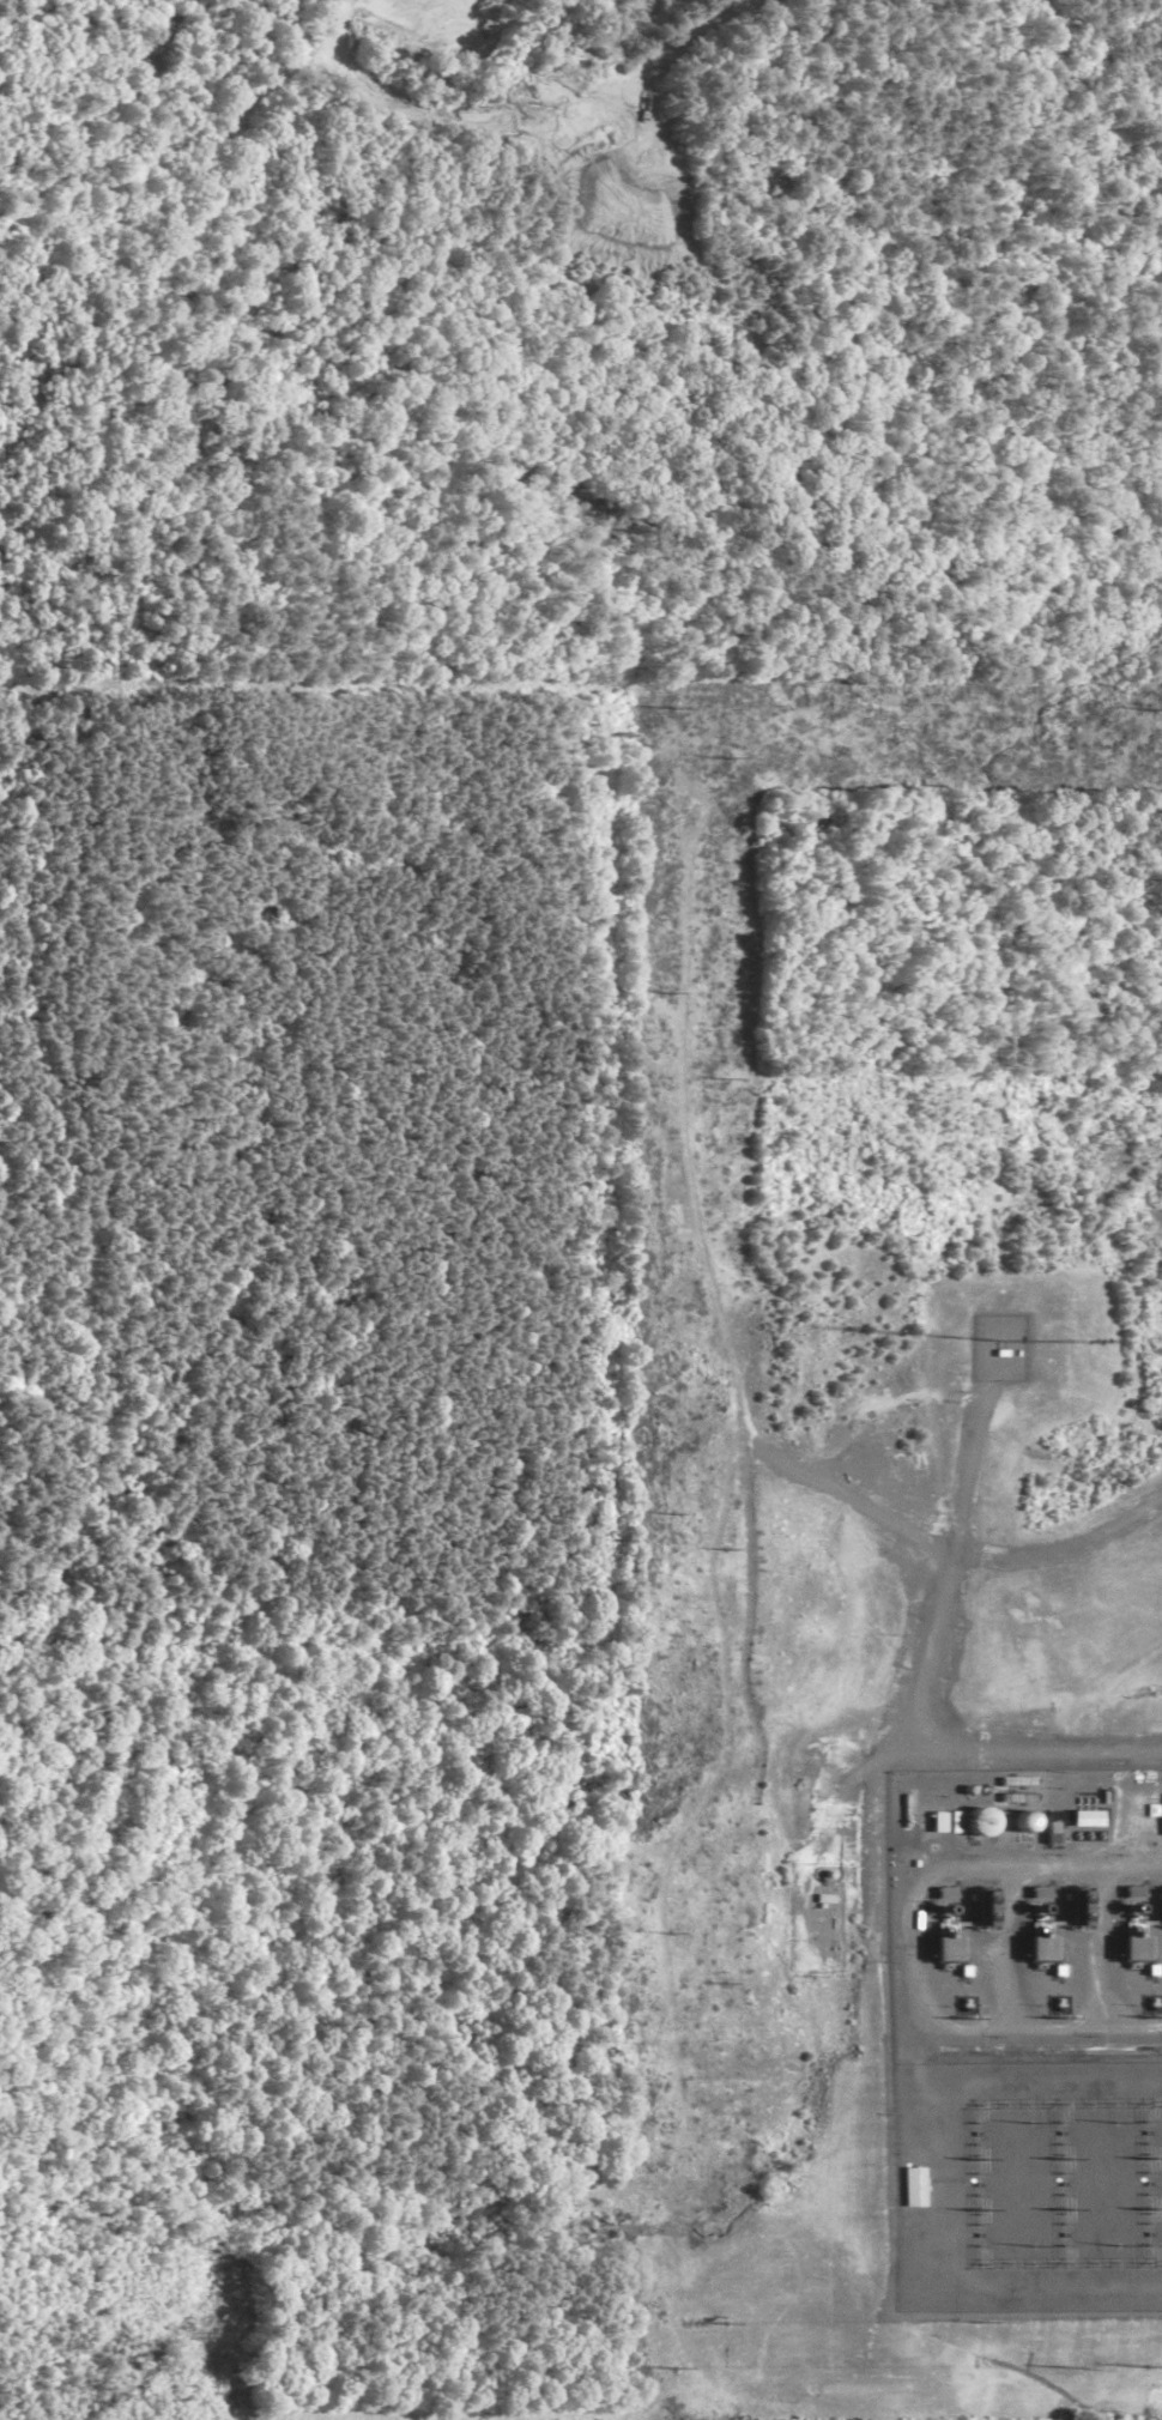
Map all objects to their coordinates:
building: (1089, 1821)
building: (980, 1825)
building: (988, 1911)
chimney: (1043, 1911)
chimney: (1137, 1911)
chimney: (949, 1912)
building: (1079, 1913)
power plant: (1028, 1914)
building: (1136, 1924)
building: (1043, 1925)
building: (948, 1926)
power substation: (1029, 2185)
building: (908, 2191)

